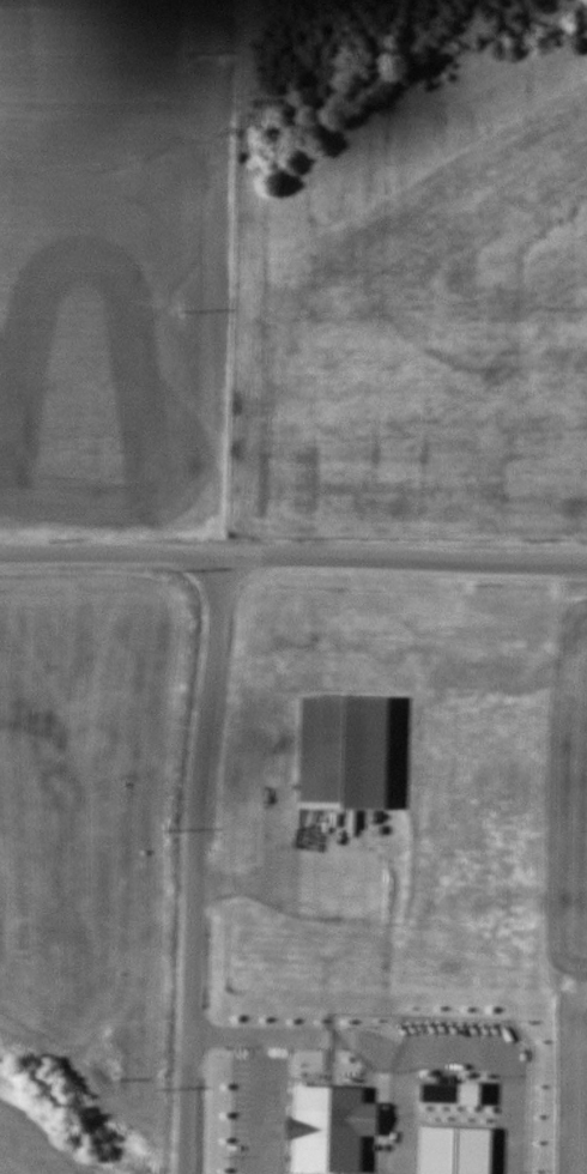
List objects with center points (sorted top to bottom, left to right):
road: (292, 550)
building: (346, 745)
road: (198, 861)

